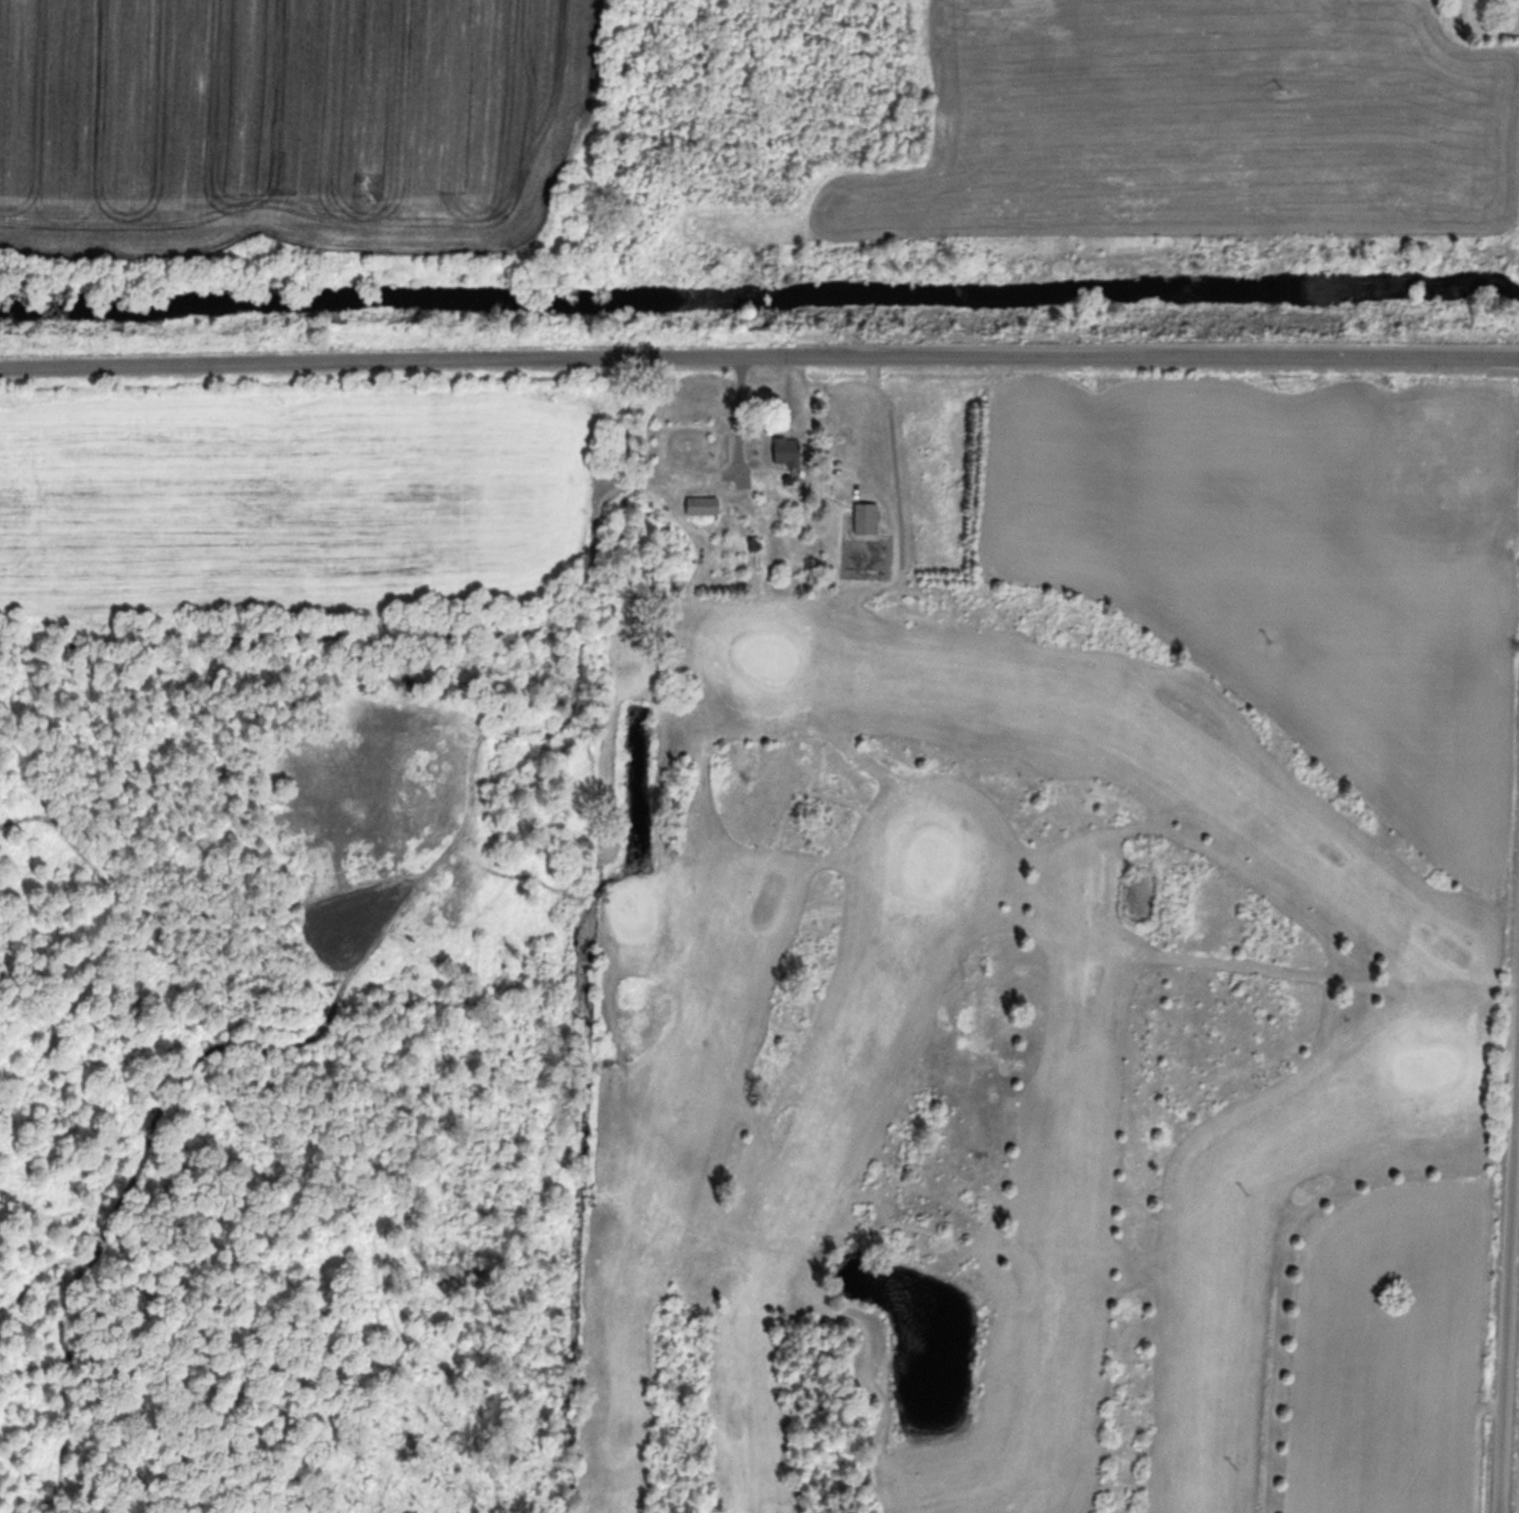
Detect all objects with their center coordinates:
river: (759, 296)
road: (759, 358)
building: (786, 450)
building: (700, 504)
park: (1009, 1083)
road: (1508, 1250)

